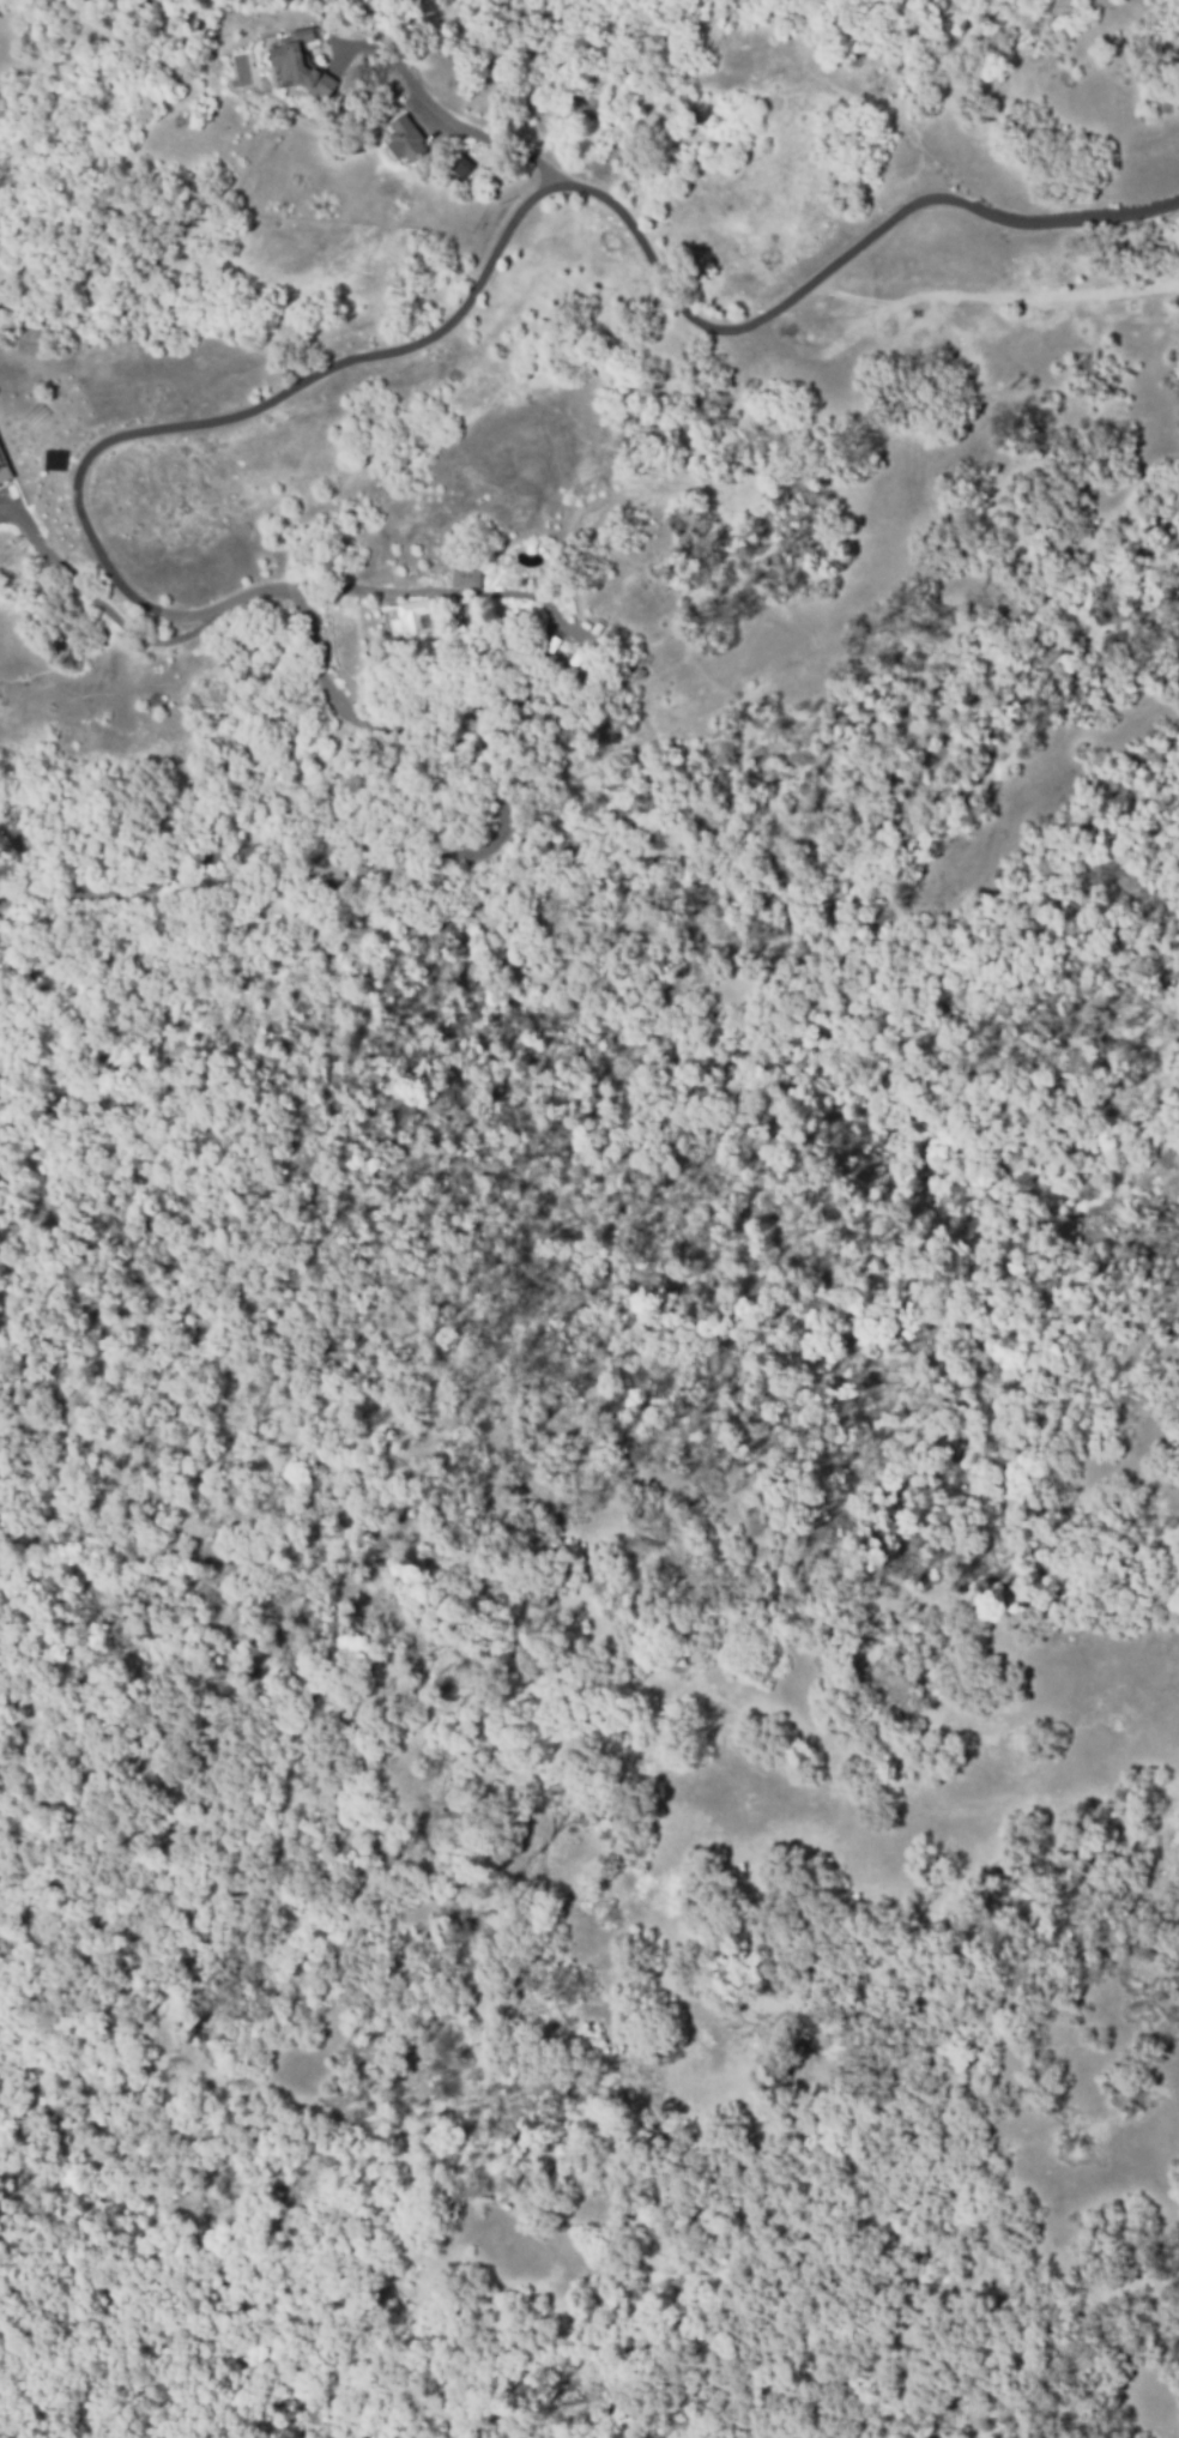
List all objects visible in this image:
building: (298, 65)
road: (453, 119)
building: (404, 138)
building: (459, 167)
road: (149, 432)
building: (53, 434)
building: (53, 447)
building: (4, 469)
building: (466, 578)
road: (97, 601)
building: (410, 615)
building: (549, 644)
building: (573, 660)
building: (322, 867)
building: (274, 893)

